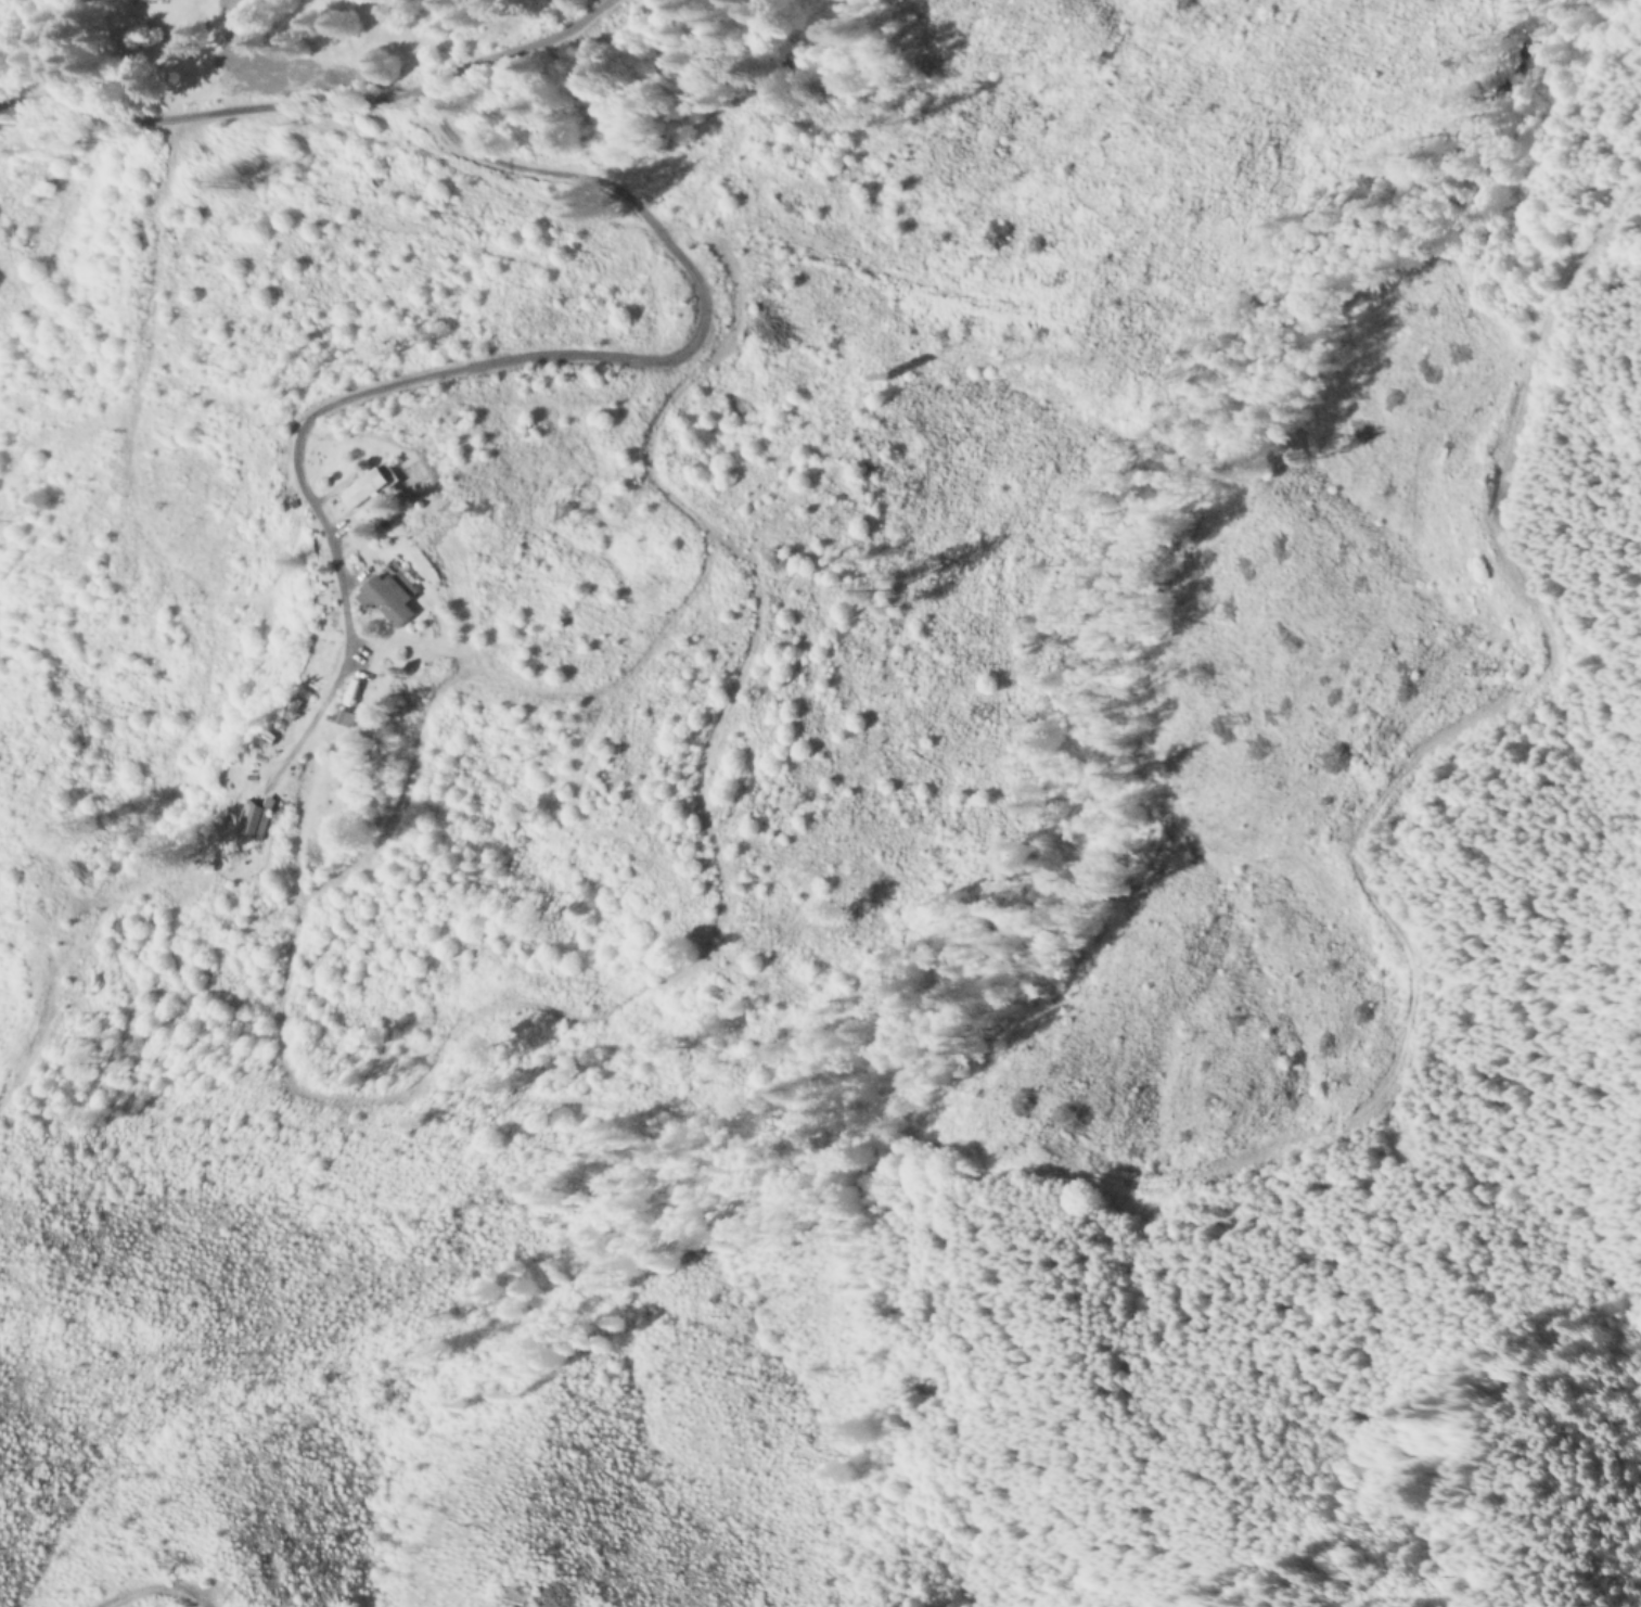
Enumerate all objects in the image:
road: (371, 98)
road: (604, 356)
building: (364, 490)
building: (389, 603)
building: (256, 824)
road: (1356, 834)
road: (239, 870)

